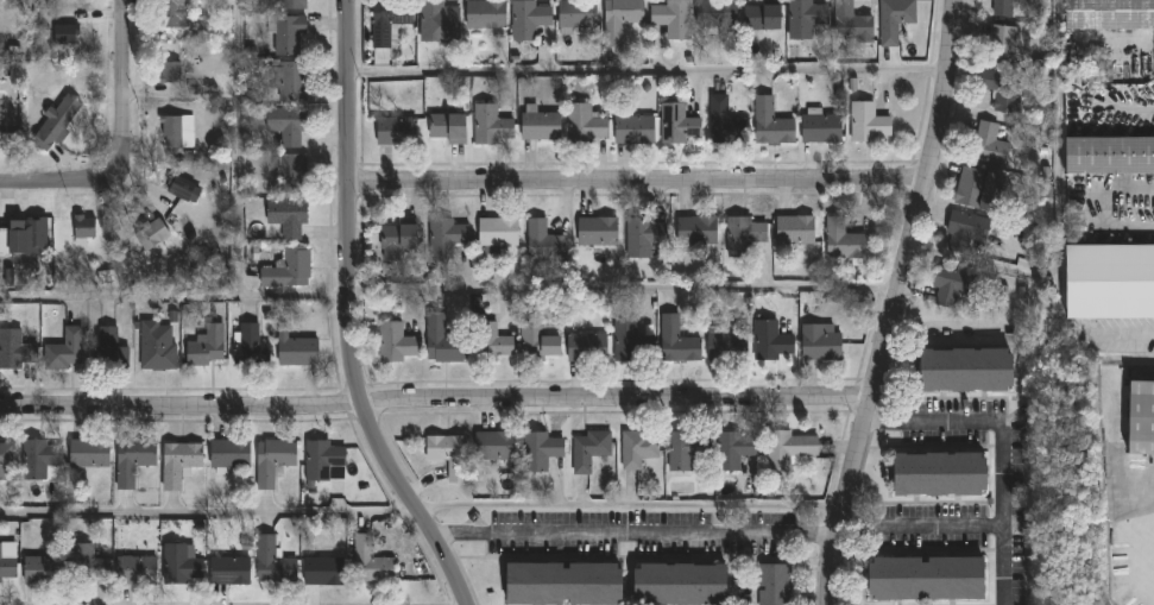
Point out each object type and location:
building: (291, 5)
building: (1002, 7)
building: (171, 14)
building: (575, 14)
building: (715, 14)
building: (1109, 14)
building: (484, 15)
building: (670, 15)
building: (762, 18)
building: (805, 18)
building: (618, 19)
building: (894, 19)
building: (526, 20)
building: (386, 21)
building: (439, 24)
building: (850, 24)
building: (64, 36)
building: (286, 37)
building: (999, 44)
road: (120, 65)
road: (647, 69)
building: (169, 74)
building: (289, 82)
building: (1001, 89)
building: (0, 118)
building: (723, 122)
building: (769, 122)
building: (55, 124)
building: (584, 124)
building: (866, 124)
building: (677, 125)
building: (286, 126)
building: (490, 126)
building: (540, 126)
building: (447, 128)
building: (819, 128)
building: (633, 130)
building: (395, 132)
building: (170, 133)
building: (986, 145)
building: (1109, 155)
building: (291, 174)
road: (78, 182)
road: (633, 183)
building: (969, 188)
building: (179, 190)
building: (285, 218)
building: (966, 227)
building: (82, 229)
building: (794, 231)
building: (595, 232)
building: (696, 232)
building: (496, 234)
building: (150, 235)
building: (743, 235)
building: (444, 237)
building: (643, 238)
building: (21, 240)
building: (395, 241)
building: (841, 241)
building: (543, 244)
road: (1057, 246)
building: (286, 269)
building: (1109, 282)
road: (623, 285)
building: (950, 286)
road: (175, 296)
road: (890, 302)
road: (352, 315)
building: (441, 341)
building: (537, 341)
building: (770, 341)
building: (675, 342)
building: (395, 344)
building: (491, 344)
building: (630, 344)
building: (818, 344)
building: (156, 345)
building: (248, 345)
building: (206, 346)
building: (726, 347)
building: (111, 348)
building: (296, 348)
building: (585, 348)
building: (14, 349)
building: (64, 351)
building: (965, 368)
road: (433, 407)
building: (1141, 417)
building: (493, 447)
building: (588, 448)
building: (637, 448)
building: (685, 449)
building: (732, 449)
building: (786, 449)
building: (538, 450)
building: (88, 453)
building: (229, 453)
building: (448, 455)
building: (38, 456)
building: (320, 459)
building: (6, 460)
building: (132, 460)
building: (271, 460)
building: (177, 461)
building: (939, 473)
road: (1002, 486)
road: (422, 511)
road: (667, 531)
road: (460, 532)
road: (1141, 552)
building: (7, 561)
building: (368, 561)
building: (271, 562)
building: (87, 563)
building: (179, 563)
road: (1003, 565)
building: (42, 569)
building: (134, 569)
building: (229, 569)
building: (323, 571)
building: (926, 578)
building: (562, 584)
building: (679, 584)
building: (773, 584)

